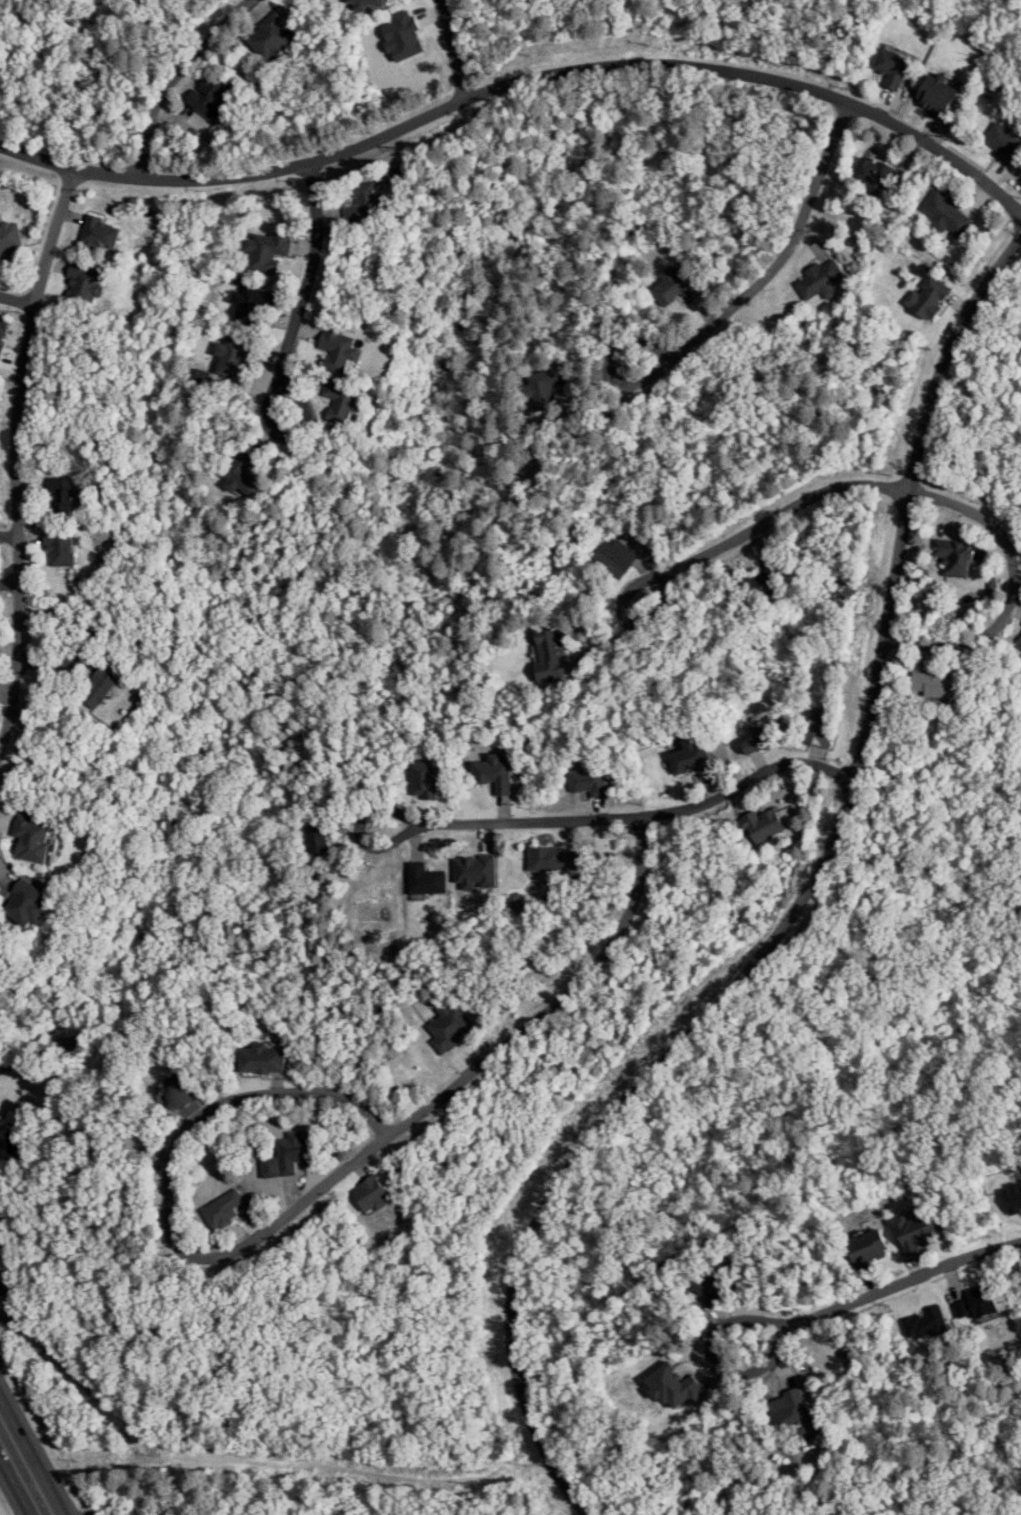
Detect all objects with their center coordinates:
building: (370, 3)
building: (271, 34)
building: (402, 36)
road: (458, 50)
building: (891, 67)
road: (176, 78)
road: (519, 82)
building: (935, 94)
building: (211, 95)
building: (1003, 142)
building: (871, 173)
building: (364, 202)
building: (945, 212)
building: (99, 233)
building: (10, 236)
building: (268, 250)
building: (0, 261)
road: (781, 266)
building: (819, 279)
building: (84, 282)
building: (675, 286)
road: (306, 290)
building: (928, 297)
road: (16, 303)
building: (252, 304)
building: (3, 330)
building: (338, 348)
building: (233, 355)
building: (201, 377)
building: (544, 388)
building: (341, 402)
building: (243, 474)
road: (17, 476)
building: (62, 493)
road: (770, 520)
building: (60, 547)
building: (954, 556)
road: (10, 557)
building: (615, 557)
building: (765, 581)
road: (1016, 587)
road: (54, 642)
building: (1019, 643)
building: (550, 653)
building: (98, 688)
building: (818, 726)
building: (757, 742)
building: (692, 757)
building: (493, 773)
building: (423, 778)
building: (589, 778)
road: (624, 818)
building: (760, 825)
building: (31, 838)
building: (316, 839)
road: (4, 849)
building: (552, 859)
road: (794, 918)
road: (3, 1067)
road: (463, 1077)
road: (224, 1086)
road: (885, 1293)
road: (29, 1459)
road: (13, 1489)

